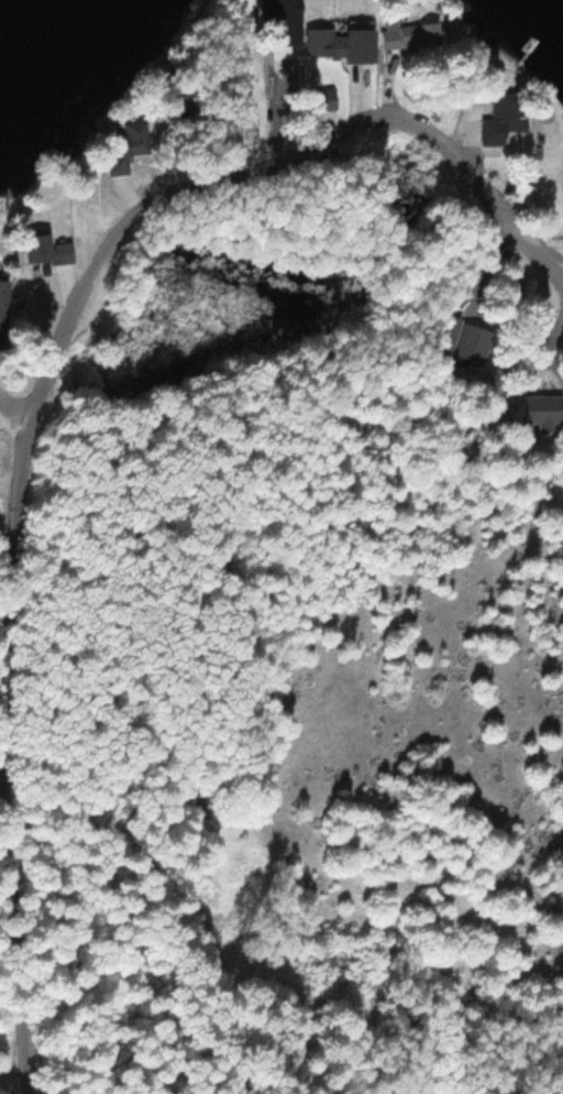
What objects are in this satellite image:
building: (412, 34)
building: (341, 43)
building: (322, 99)
building: (507, 117)
building: (128, 145)
road: (260, 160)
building: (525, 192)
building: (47, 247)
building: (4, 306)
building: (552, 391)
road: (14, 413)
road: (9, 483)
road: (8, 761)
road: (3, 787)
road: (18, 1073)

